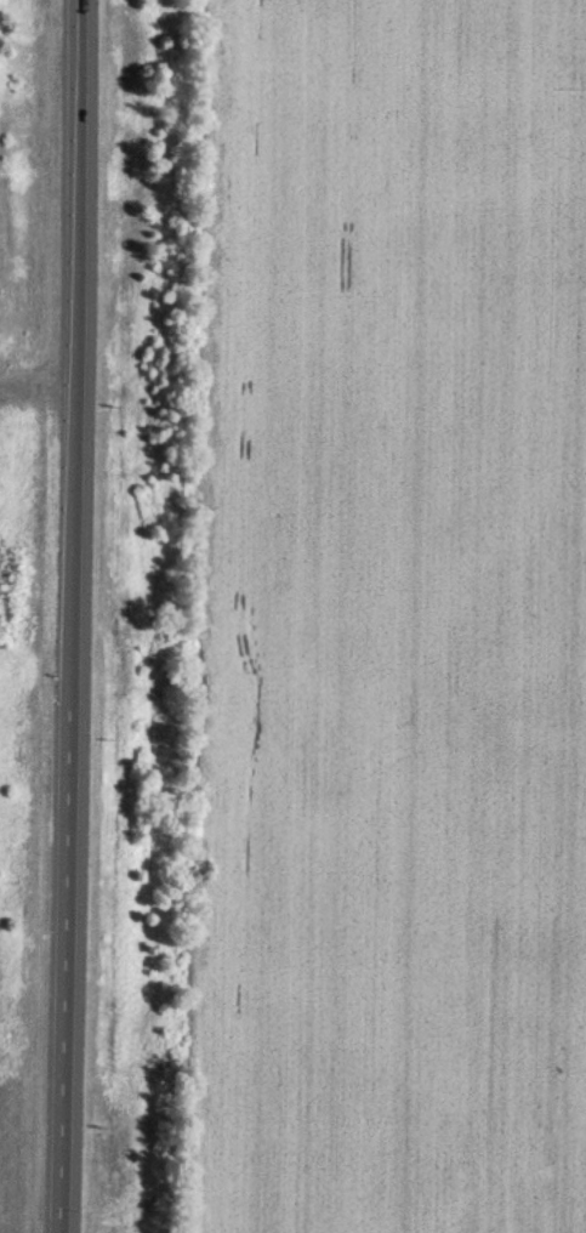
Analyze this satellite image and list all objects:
road: (69, 616)

